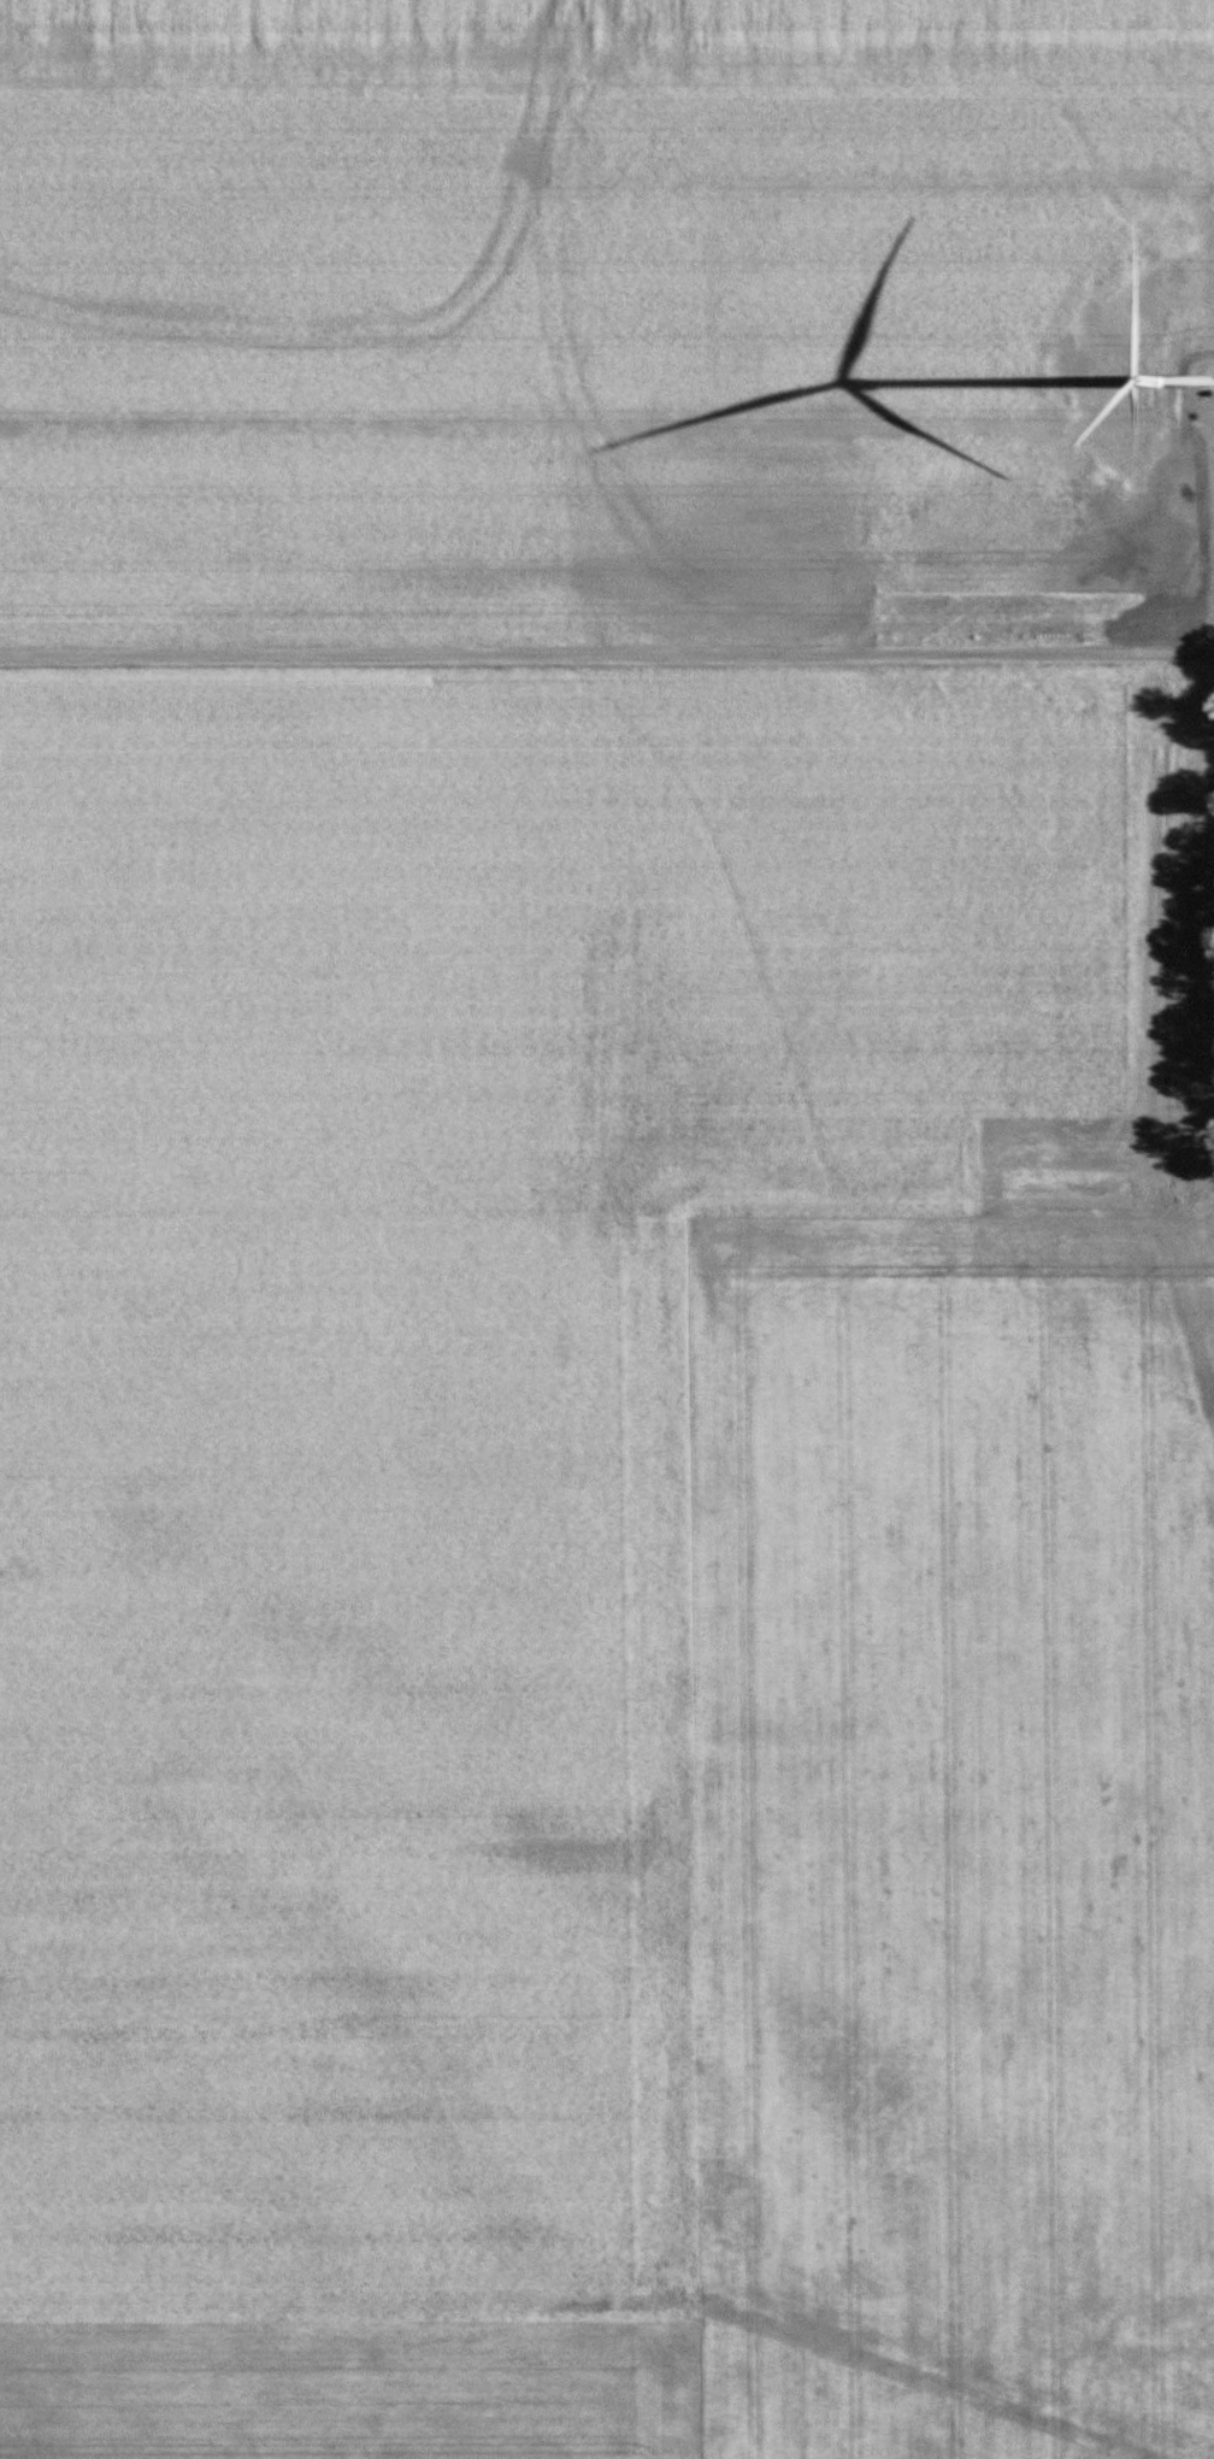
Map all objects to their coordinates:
wind turbine: (1213, 382)

